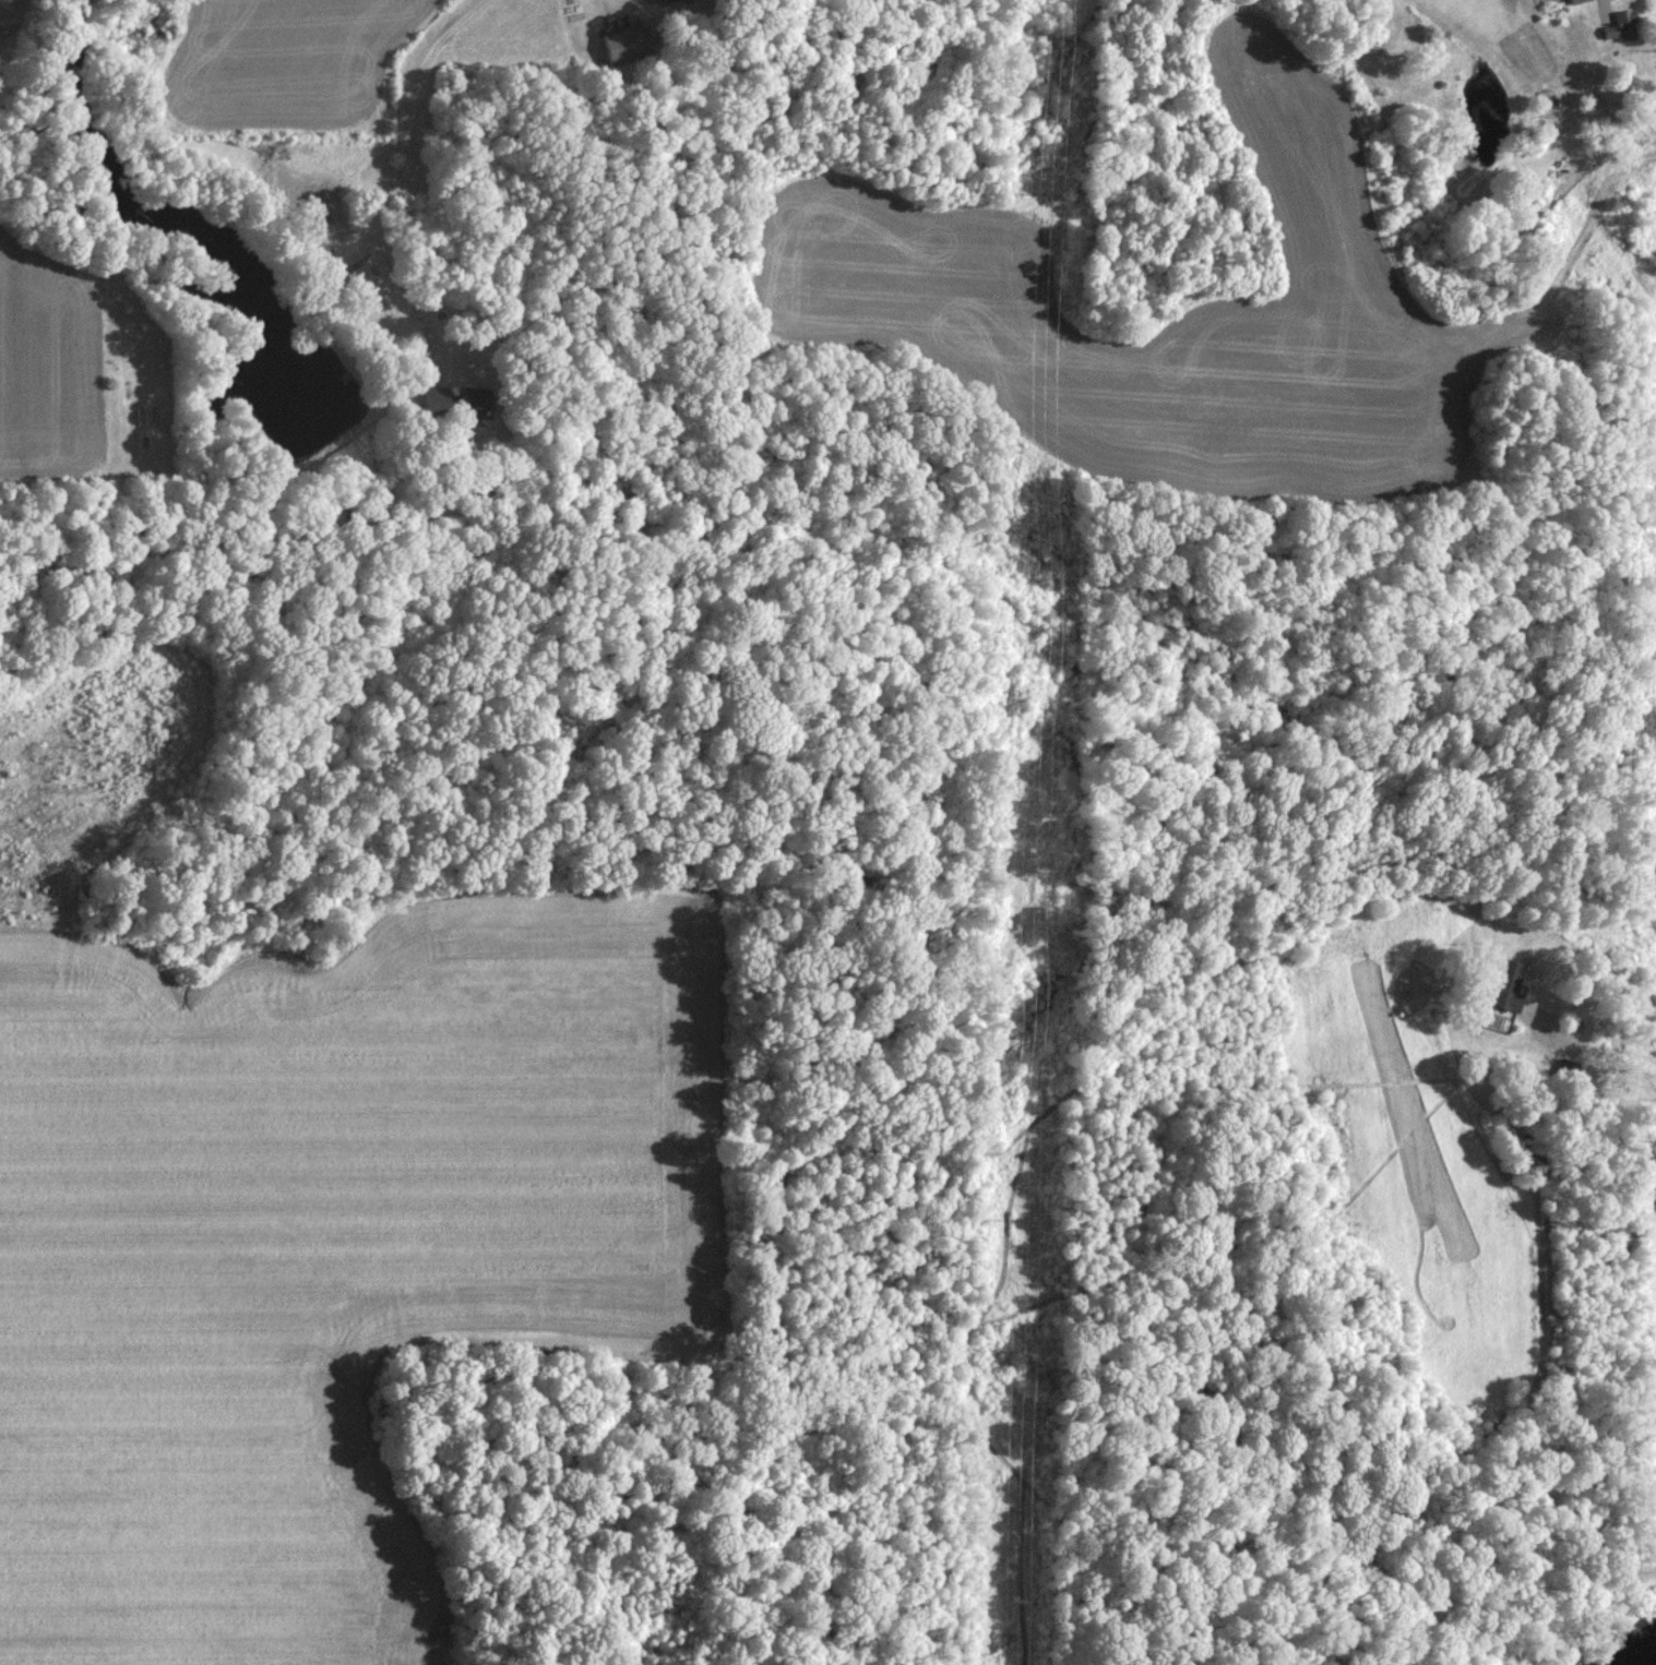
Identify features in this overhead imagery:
road: (606, 1)
building: (1575, 1)
building: (1622, 25)
building: (626, 43)
road: (401, 180)
building: (438, 394)
building: (466, 399)
building: (1509, 986)

